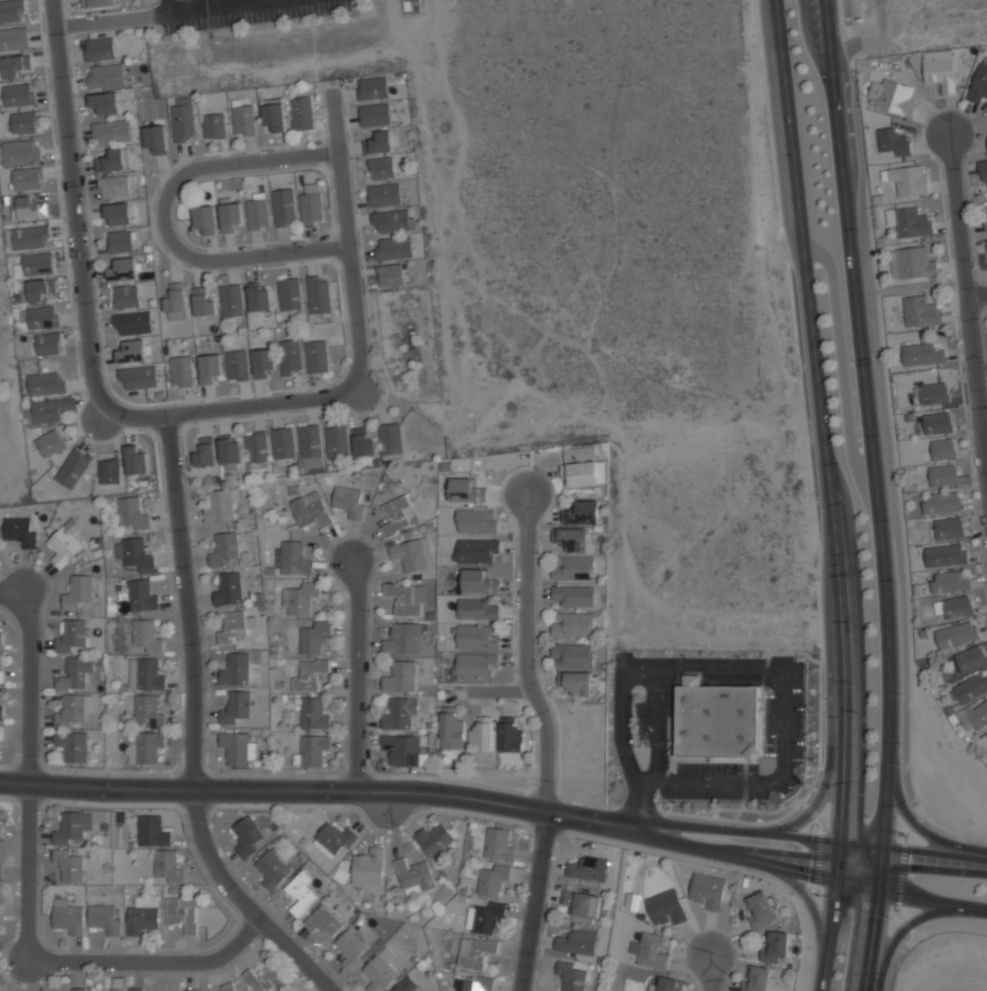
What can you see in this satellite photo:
building: (99, 3)
road: (233, 3)
road: (168, 5)
road: (825, 5)
building: (12, 10)
parking lot: (243, 11)
road: (135, 15)
building: (14, 37)
building: (99, 49)
building: (15, 65)
building: (939, 70)
building: (105, 76)
building: (979, 84)
building: (373, 88)
building: (19, 93)
building: (891, 96)
building: (104, 103)
building: (301, 113)
building: (273, 114)
building: (375, 114)
building: (243, 120)
building: (24, 121)
building: (183, 122)
building: (214, 126)
building: (111, 132)
building: (155, 138)
building: (378, 142)
building: (891, 142)
building: (20, 151)
building: (114, 159)
building: (381, 168)
building: (984, 173)
building: (27, 178)
building: (908, 179)
building: (113, 185)
building: (384, 195)
building: (310, 202)
building: (284, 206)
building: (30, 207)
building: (117, 213)
building: (229, 213)
building: (258, 213)
building: (205, 217)
building: (909, 220)
building: (985, 220)
building: (391, 221)
road: (166, 222)
building: (30, 236)
building: (120, 240)
road: (353, 240)
building: (986, 241)
building: (394, 248)
building: (912, 262)
building: (35, 263)
building: (125, 268)
building: (390, 275)
road: (920, 286)
building: (41, 289)
road: (978, 292)
building: (290, 294)
building: (319, 294)
building: (126, 295)
building: (258, 297)
road: (969, 298)
building: (231, 300)
building: (176, 302)
building: (203, 303)
building: (921, 310)
building: (42, 316)
building: (132, 322)
building: (48, 342)
building: (132, 350)
building: (923, 353)
building: (289, 356)
building: (317, 356)
building: (263, 363)
building: (237, 365)
building: (209, 369)
building: (181, 371)
building: (138, 376)
building: (45, 382)
building: (934, 393)
road: (266, 405)
building: (45, 411)
building: (937, 421)
building: (50, 441)
building: (337, 442)
building: (283, 443)
building: (362, 443)
building: (391, 443)
building: (310, 446)
building: (256, 447)
building: (943, 447)
building: (229, 449)
building: (205, 452)
building: (579, 453)
building: (135, 460)
building: (73, 467)
building: (109, 470)
building: (586, 473)
building: (946, 475)
road: (174, 487)
building: (466, 491)
road: (828, 495)
road: (874, 495)
building: (349, 502)
building: (941, 502)
building: (219, 506)
road: (894, 506)
building: (309, 509)
building: (131, 513)
building: (582, 513)
building: (398, 515)
building: (476, 521)
building: (19, 527)
building: (949, 528)
building: (573, 539)
building: (64, 545)
building: (225, 550)
building: (476, 550)
building: (133, 553)
building: (413, 554)
building: (946, 554)
building: (292, 558)
building: (573, 568)
building: (950, 580)
building: (479, 582)
building: (228, 589)
building: (78, 591)
building: (141, 595)
building: (574, 596)
building: (299, 598)
building: (405, 598)
building: (954, 606)
building: (476, 609)
building: (572, 625)
building: (234, 626)
building: (956, 633)
building: (72, 635)
building: (145, 635)
building: (313, 637)
building: (1, 638)
building: (476, 638)
building: (403, 639)
road: (526, 655)
building: (572, 655)
building: (971, 657)
building: (476, 664)
road: (639, 664)
road: (722, 664)
building: (236, 669)
building: (76, 672)
building: (147, 672)
building: (309, 675)
building: (1, 676)
road: (356, 676)
building: (400, 677)
road: (718, 680)
building: (578, 683)
building: (969, 688)
road: (499, 691)
building: (236, 707)
building: (1, 709)
building: (73, 709)
building: (147, 711)
building: (313, 713)
building: (399, 713)
building: (975, 717)
parking lot: (645, 720)
building: (722, 723)
parking lot: (782, 724)
road: (657, 725)
road: (621, 726)
building: (451, 729)
building: (1, 733)
building: (510, 735)
building: (480, 739)
building: (72, 744)
building: (144, 747)
building: (236, 748)
building: (311, 750)
building: (404, 750)
road: (27, 760)
road: (761, 782)
road: (823, 788)
road: (272, 790)
road: (640, 804)
road: (590, 820)
building: (73, 827)
building: (152, 830)
road: (739, 830)
building: (1, 831)
road: (923, 833)
building: (247, 835)
building: (433, 838)
building: (333, 839)
traffic signals: (840, 841)
building: (498, 844)
traffic signals: (884, 847)
road: (913, 851)
road: (737, 857)
building: (71, 864)
building: (368, 865)
building: (166, 866)
building: (0, 867)
building: (588, 867)
building: (272, 869)
building: (414, 875)
building: (492, 879)
traffic signals: (838, 881)
building: (465, 884)
road: (857, 885)
building: (707, 890)
traffic signals: (877, 890)
building: (300, 892)
road: (534, 901)
building: (631, 901)
building: (581, 902)
road: (931, 902)
building: (0, 904)
road: (808, 905)
building: (665, 907)
building: (761, 908)
building: (182, 912)
building: (142, 915)
building: (68, 916)
building: (484, 916)
building: (104, 917)
building: (323, 920)
road: (898, 934)
building: (576, 942)
building: (776, 947)
building: (350, 948)
building: (474, 951)
building: (651, 952)
road: (148, 959)
building: (380, 970)
road: (710, 973)
building: (571, 974)
building: (265, 979)
building: (757, 979)
building: (119, 983)
building: (474, 983)
building: (669, 984)
building: (407, 985)
building: (228, 987)
building: (77, 989)
building: (138, 989)
building: (191, 989)

